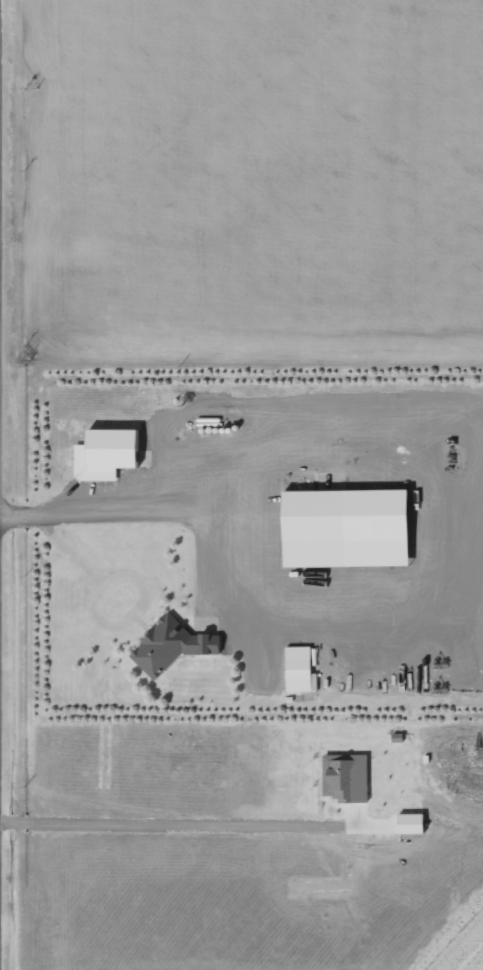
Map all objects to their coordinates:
road: (313, 398)
building: (106, 442)
road: (124, 503)
building: (347, 514)
road: (310, 614)
building: (171, 634)
building: (299, 660)
building: (343, 777)
building: (409, 823)

